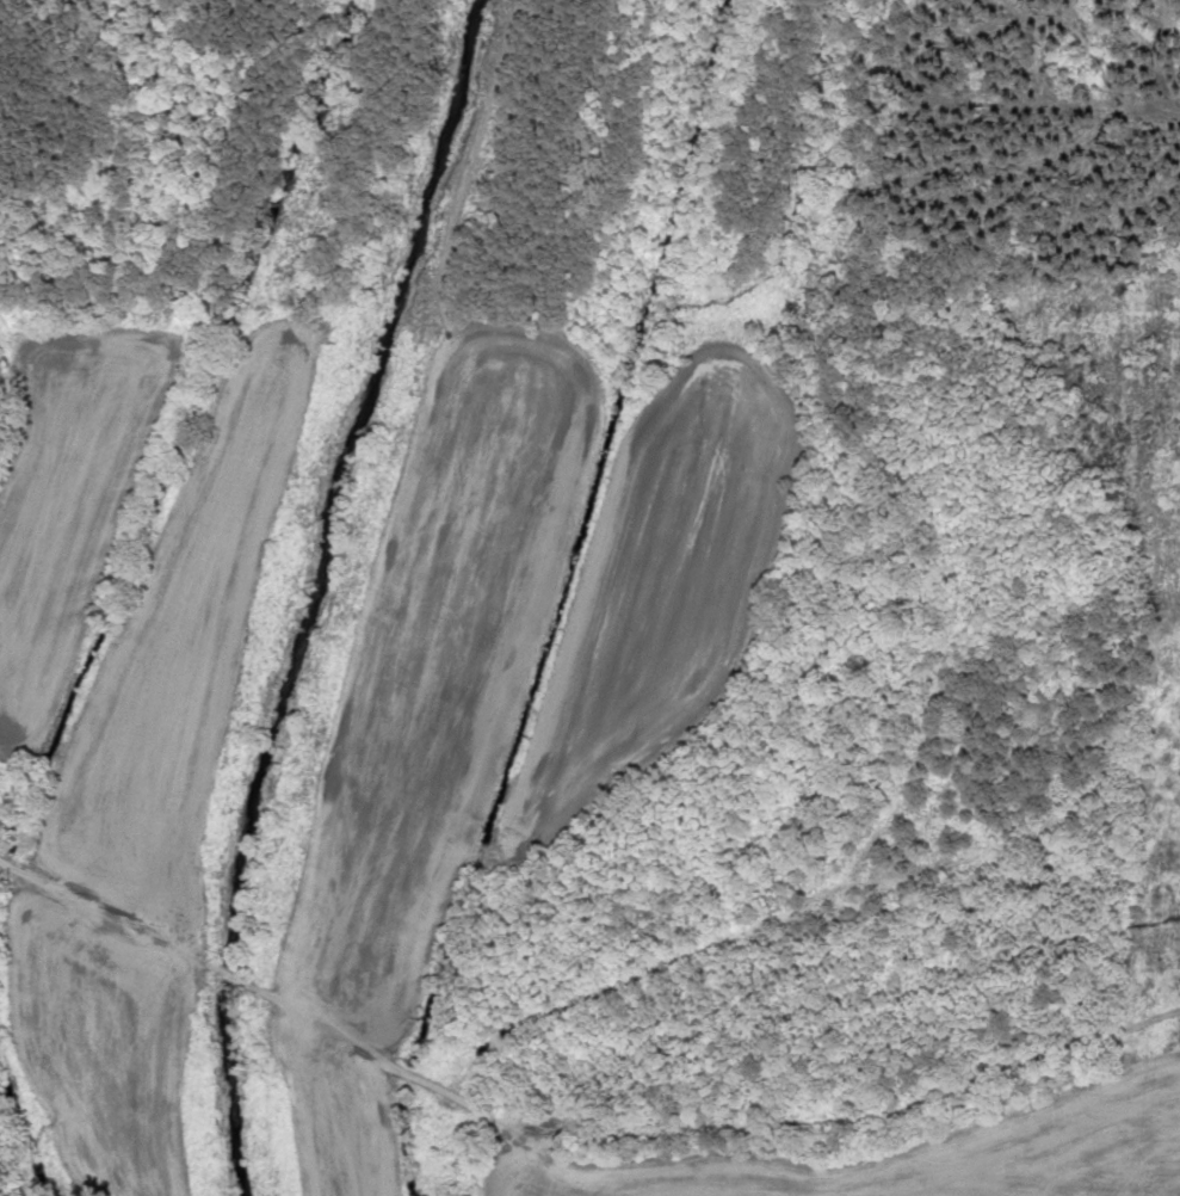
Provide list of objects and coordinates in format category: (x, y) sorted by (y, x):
road: (572, 1182)

